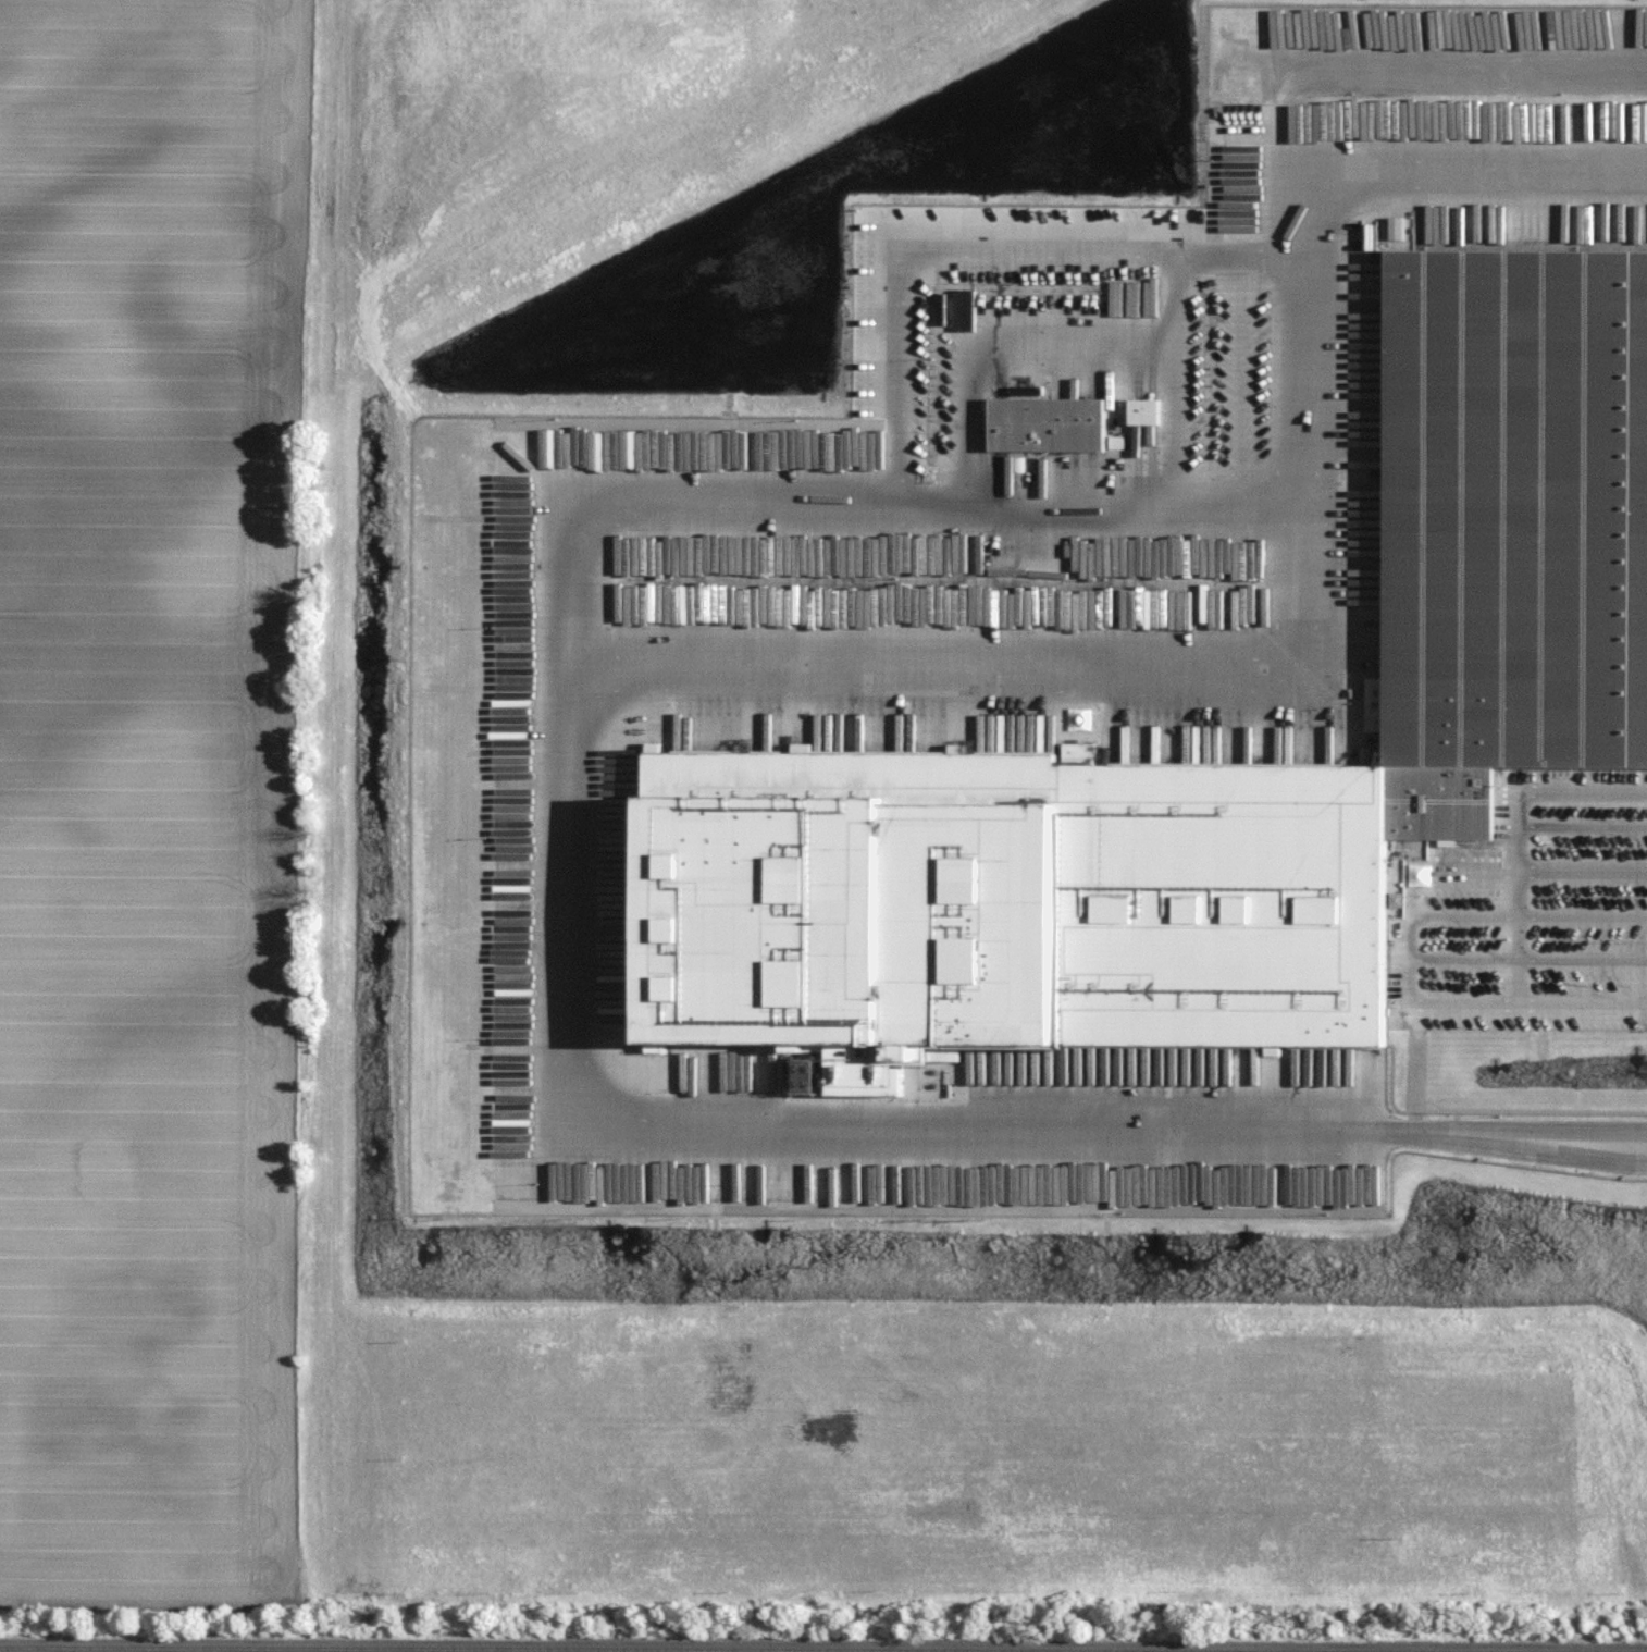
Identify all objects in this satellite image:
road: (993, 257)
building: (1150, 412)
building: (1051, 420)
road: (1313, 628)
building: (1210, 759)
road: (1582, 827)
road: (1516, 830)
road: (1465, 868)
road: (1531, 914)
road: (1530, 961)
road: (560, 989)
road: (1531, 1000)
railway: (823, 1648)

